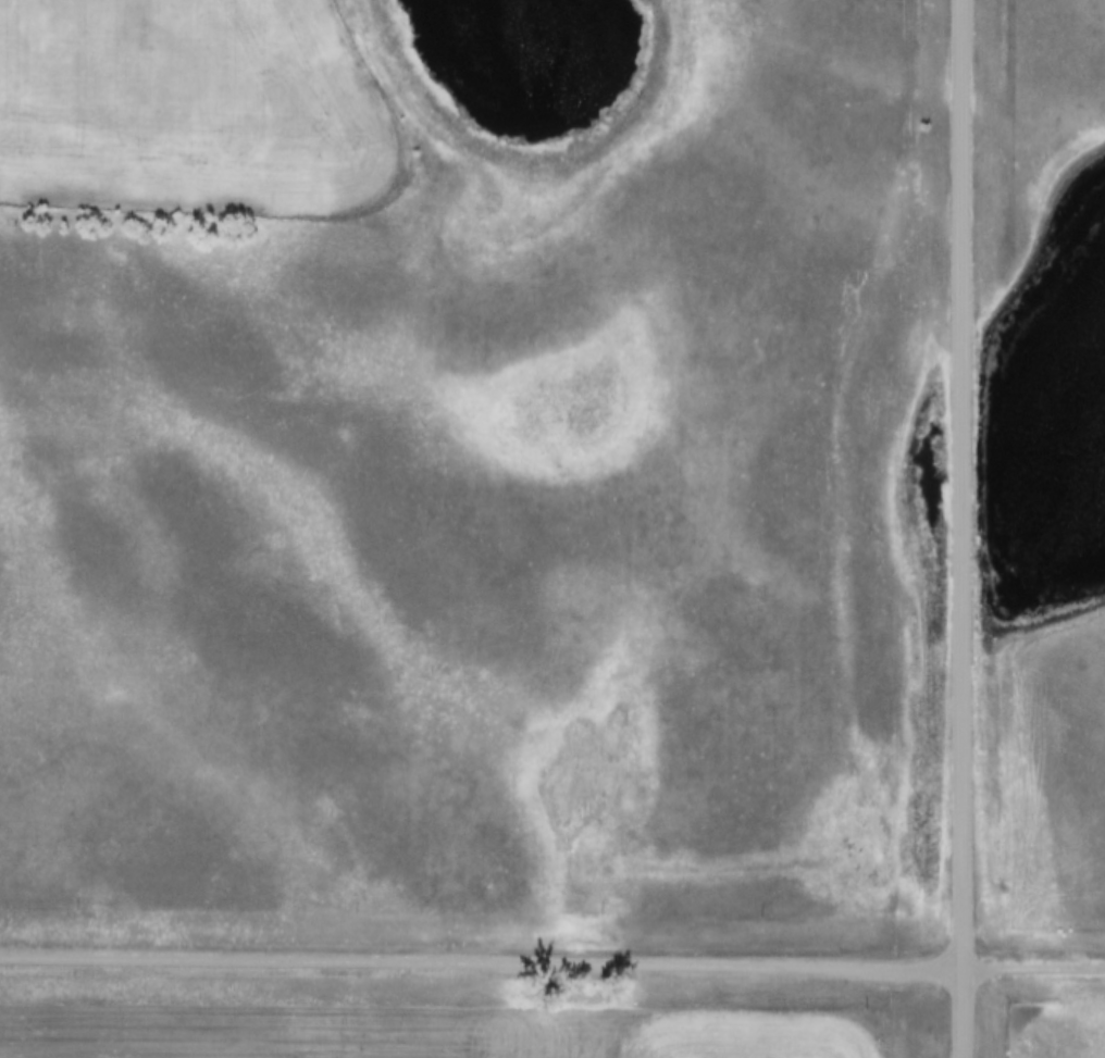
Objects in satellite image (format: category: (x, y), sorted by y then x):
road: (964, 528)
road: (484, 963)
road: (1036, 967)

